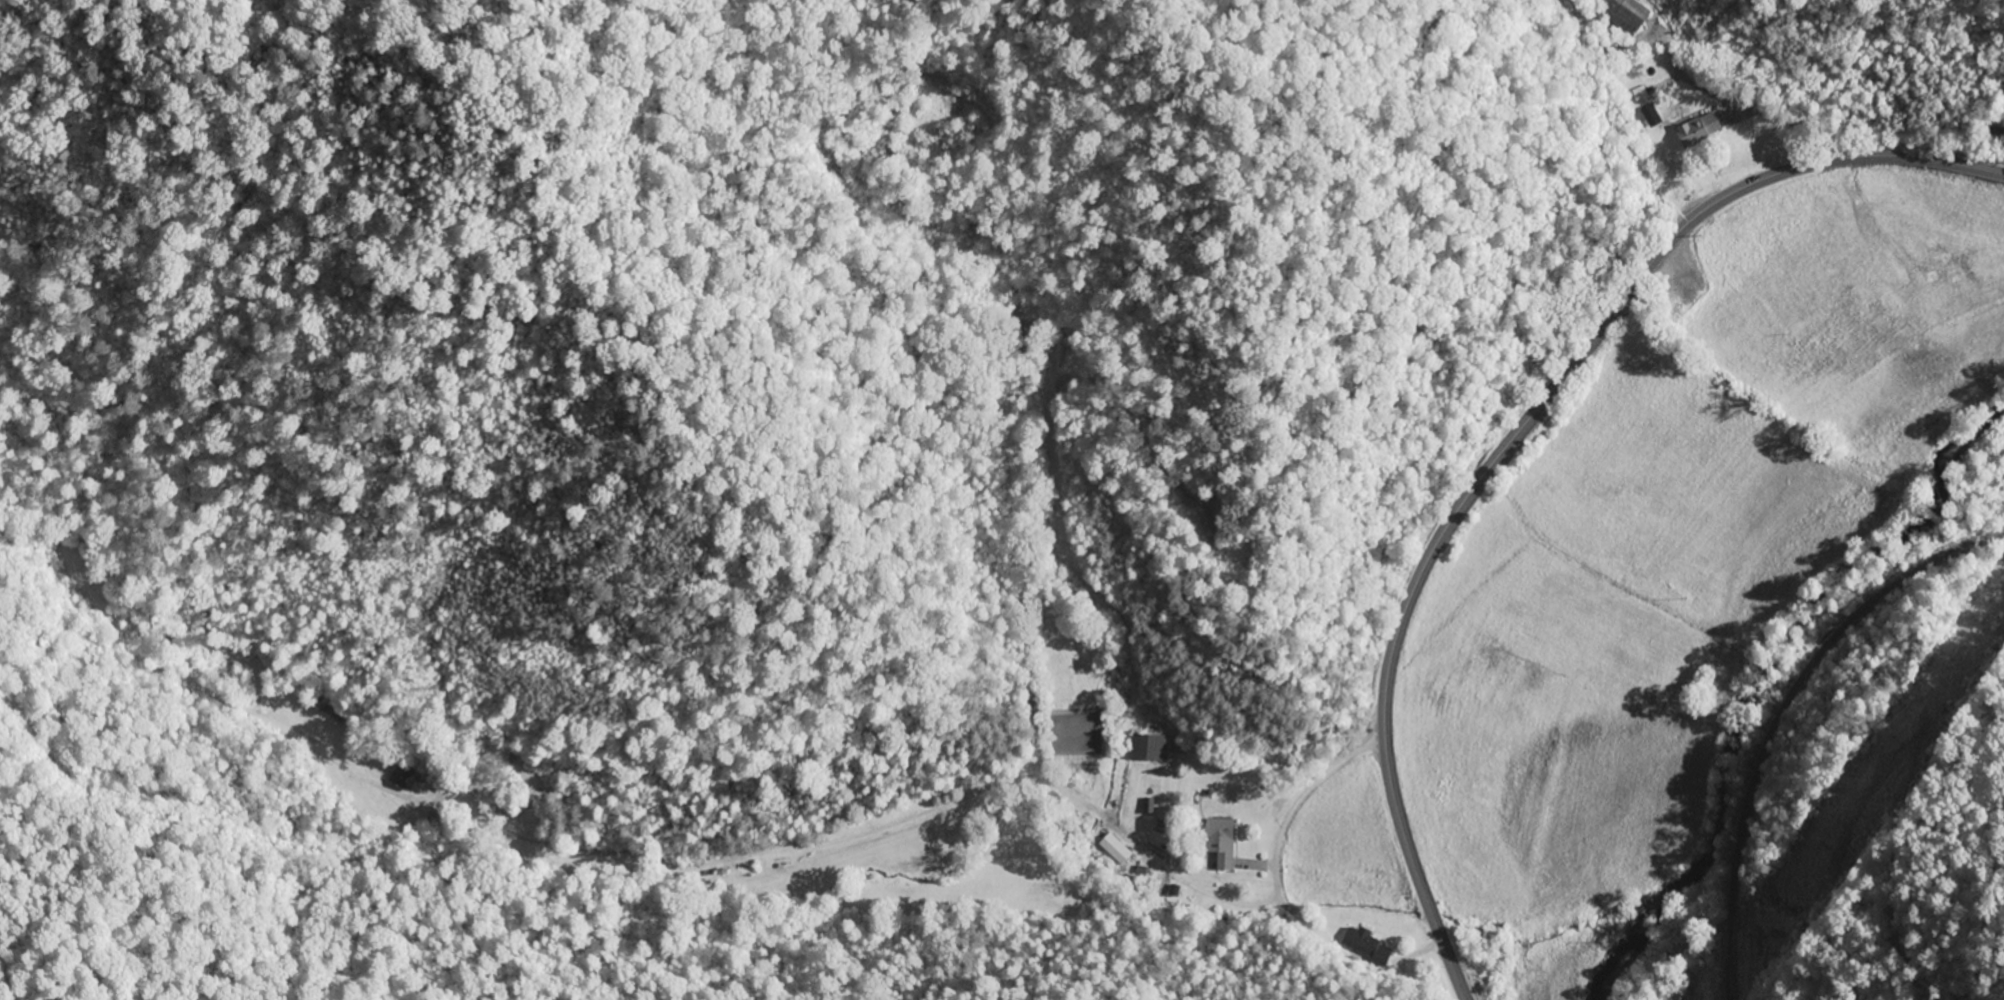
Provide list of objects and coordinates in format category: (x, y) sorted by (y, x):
building: (1637, 14)
building: (1696, 130)
road: (1513, 438)
road: (1781, 713)
railway: (1798, 724)
building: (1146, 748)
road: (1243, 786)
building: (1217, 841)
building: (1113, 849)

